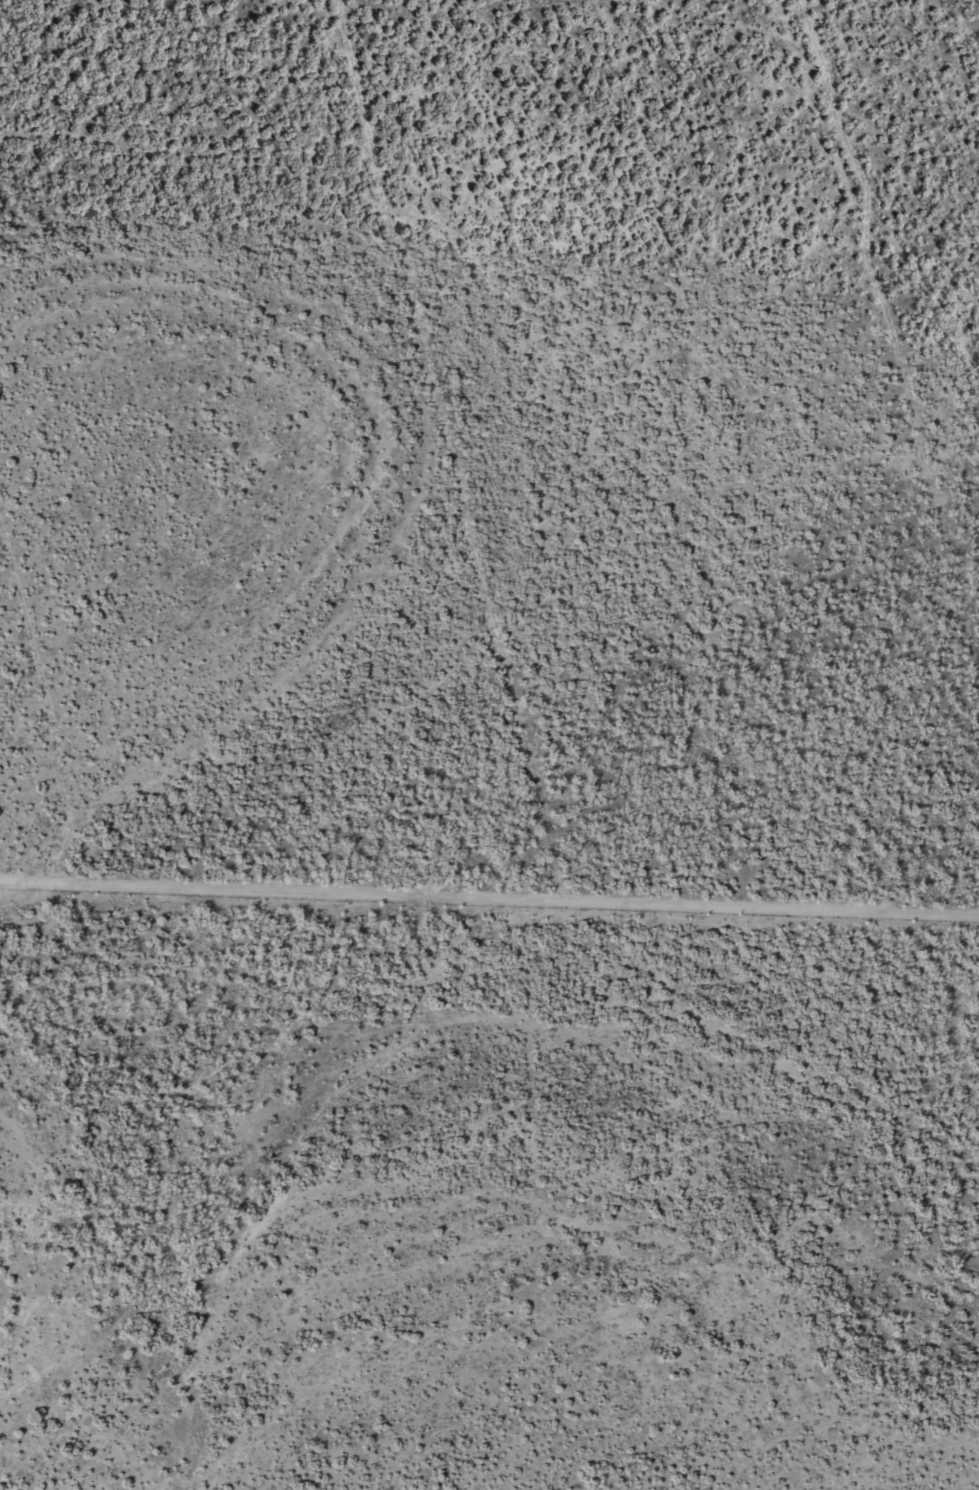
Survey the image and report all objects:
road: (451, 1056)

